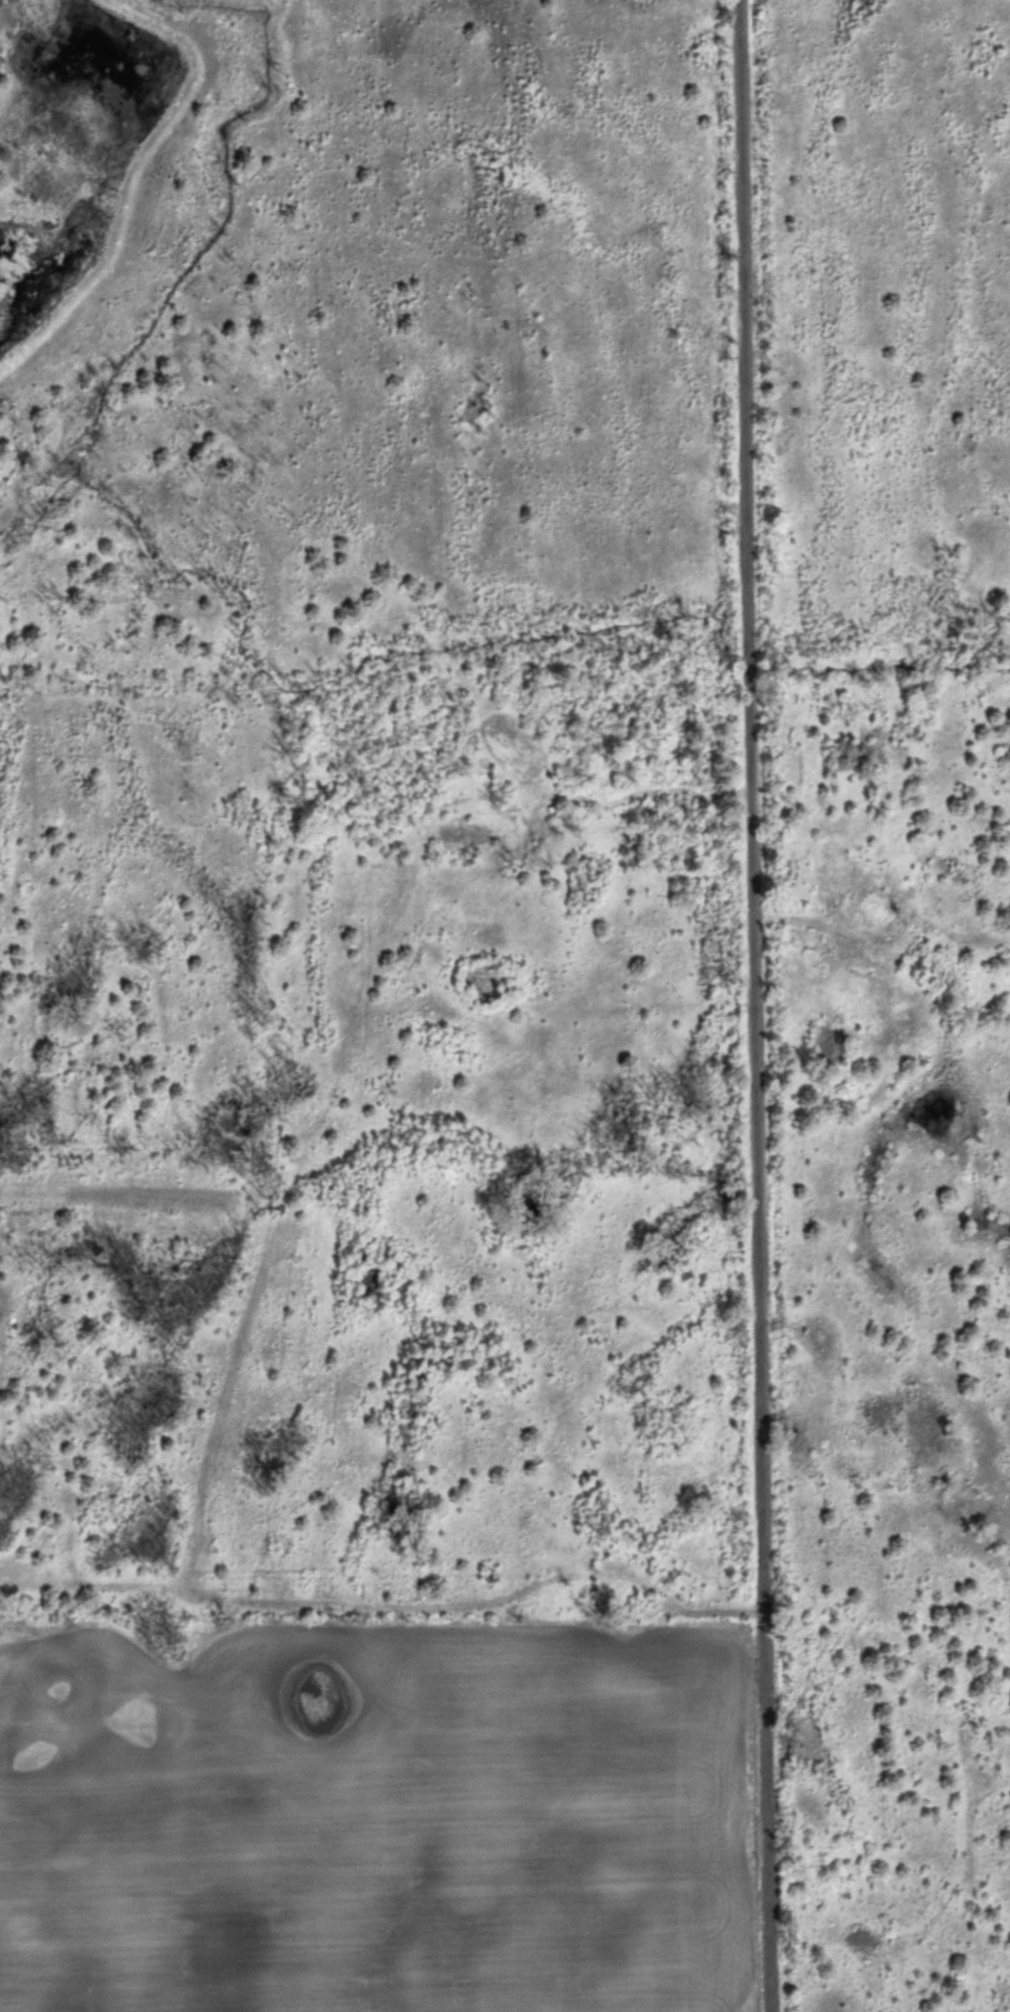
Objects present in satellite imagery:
road: (748, 1006)

